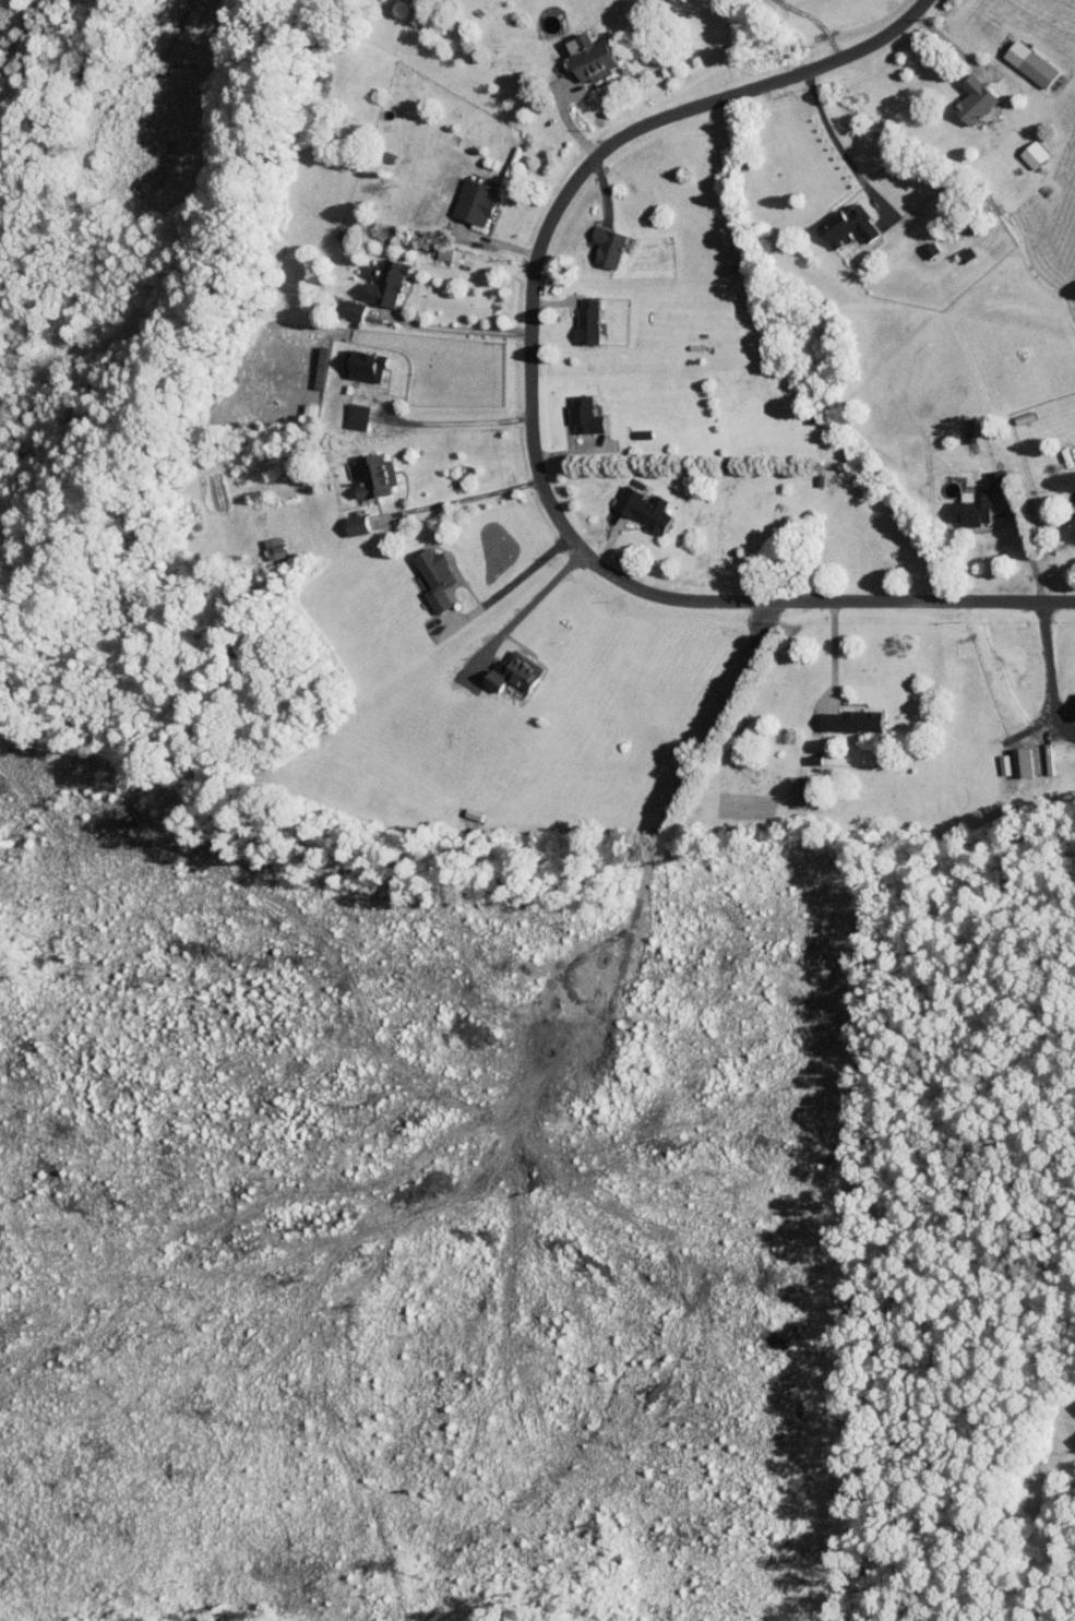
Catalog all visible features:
building: (594, 57)
building: (1032, 63)
building: (977, 99)
road: (838, 146)
building: (1036, 155)
building: (477, 202)
building: (850, 226)
building: (610, 247)
building: (931, 250)
building: (389, 283)
building: (355, 310)
building: (589, 321)
road: (469, 330)
building: (366, 366)
road: (456, 413)
building: (358, 415)
building: (586, 415)
road: (537, 416)
building: (378, 475)
building: (1000, 480)
road: (474, 494)
building: (974, 506)
building: (646, 508)
building: (358, 523)
building: (275, 547)
building: (435, 577)
road: (510, 583)
road: (527, 606)
road: (832, 654)
road: (1049, 661)
building: (517, 671)
building: (852, 719)
building: (1023, 762)
building: (1005, 763)
building: (798, 794)

